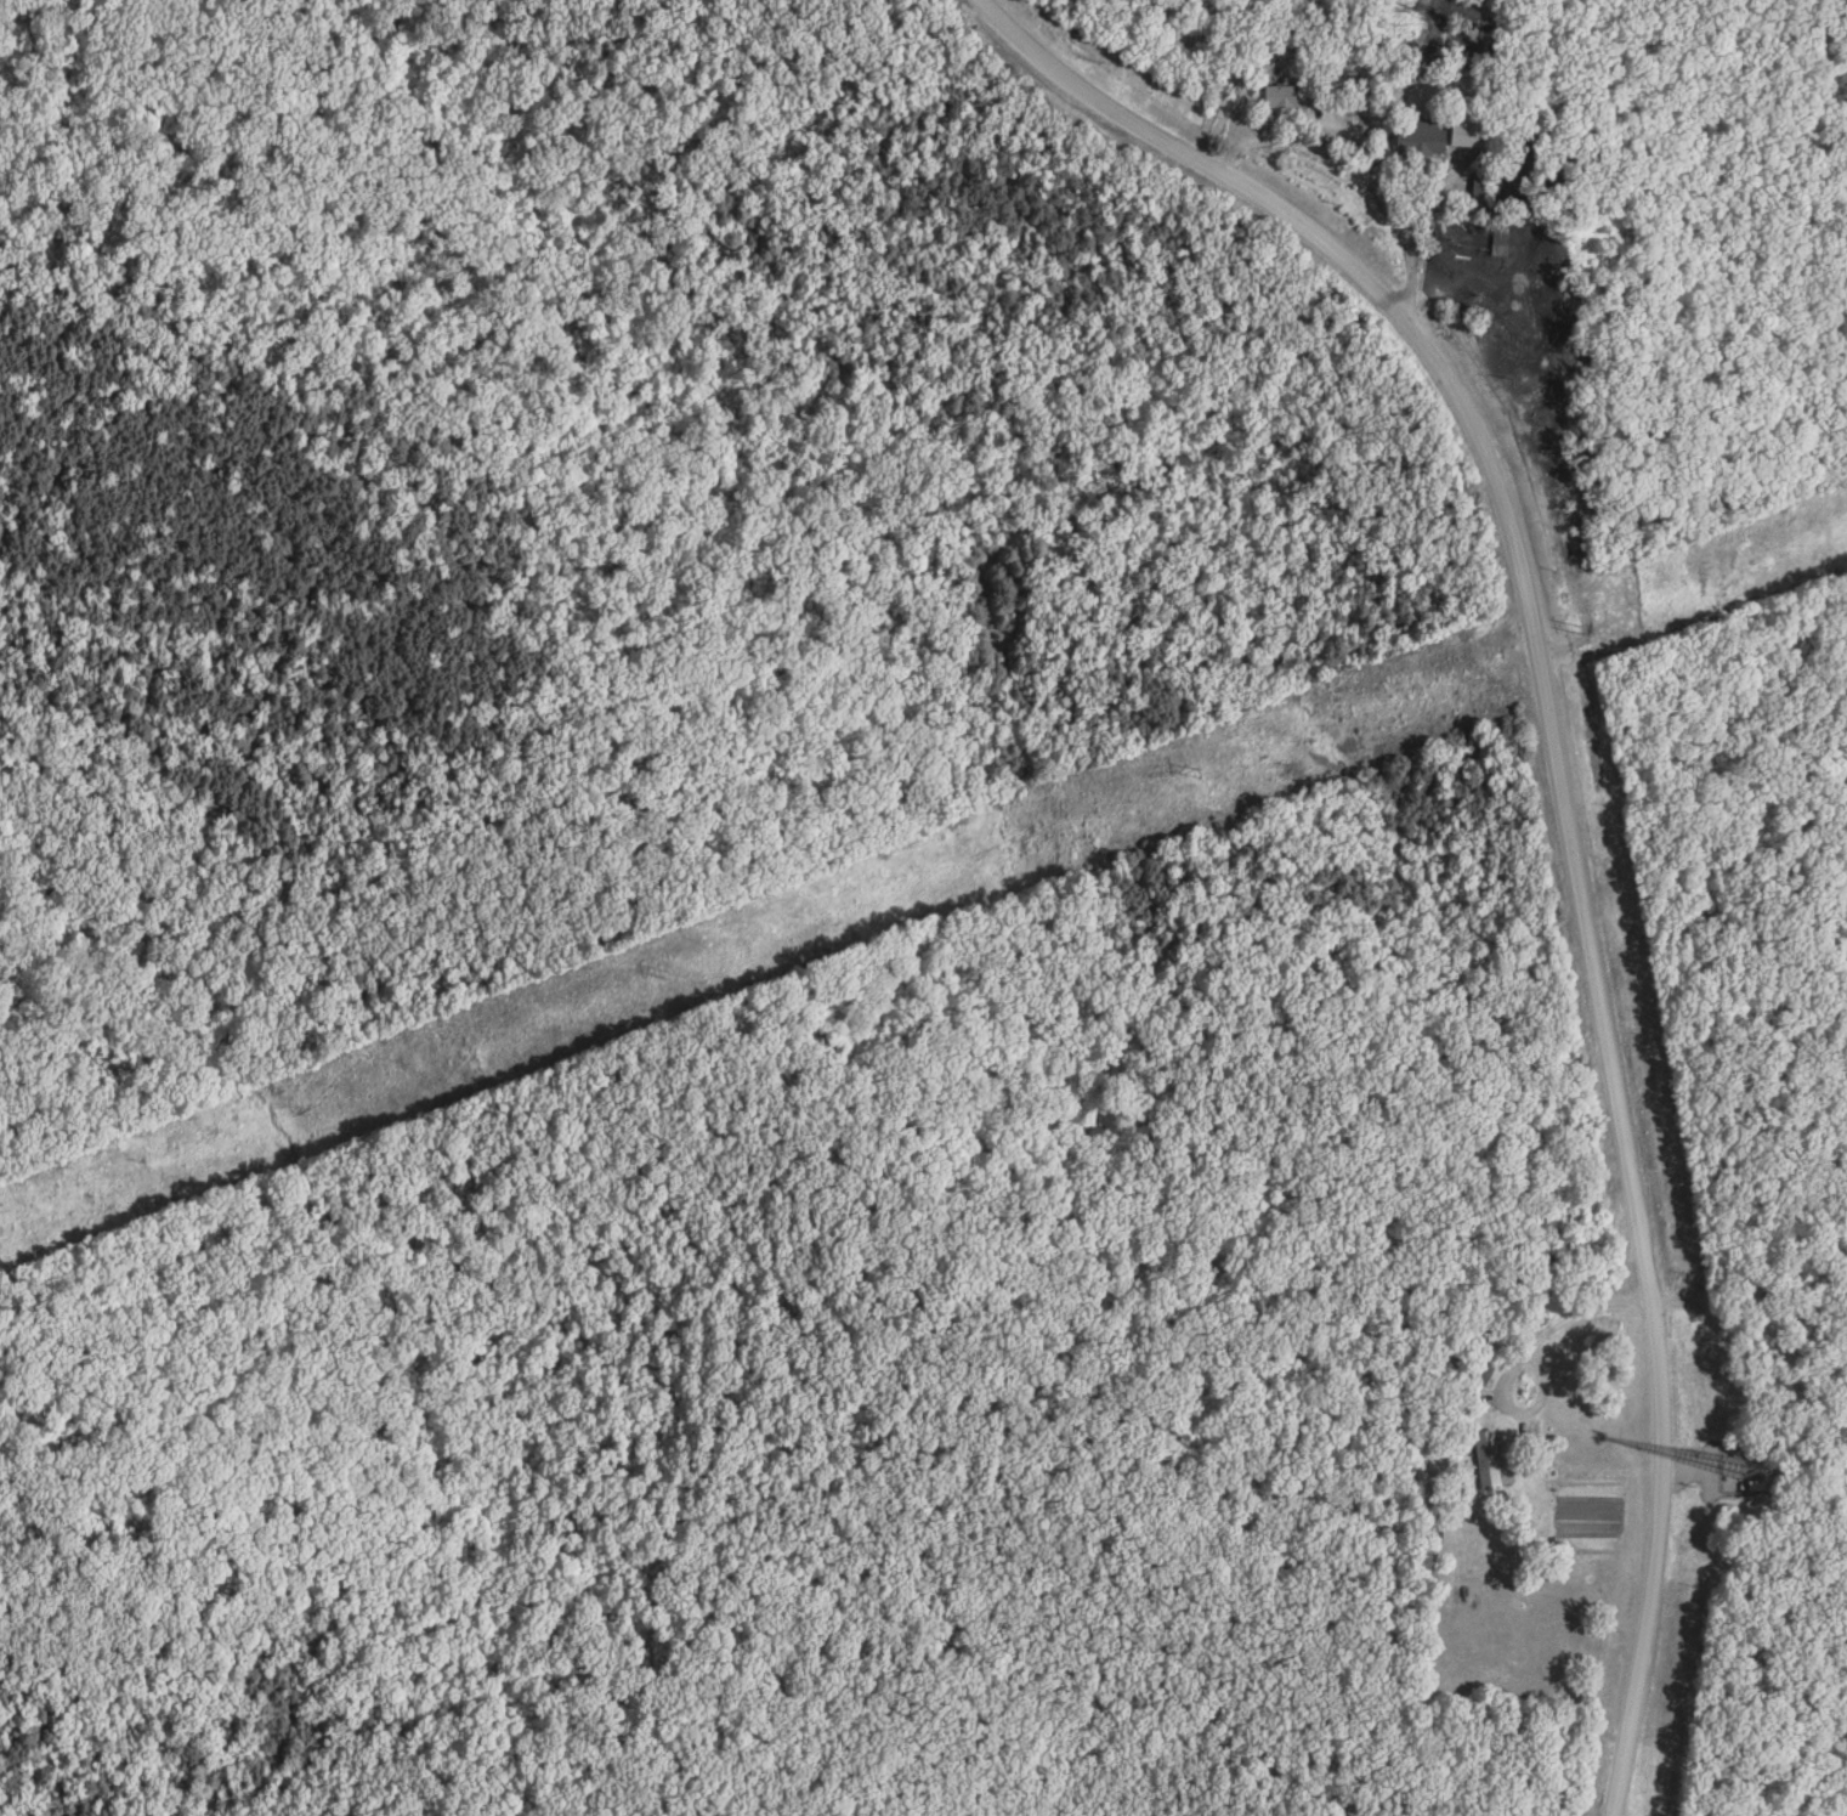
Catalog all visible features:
building: (1291, 96)
building: (1426, 138)
road: (1375, 160)
power tower: (1569, 626)
power tower: (1177, 770)
road: (1564, 792)
power tower: (655, 972)
road: (1592, 1317)
building: (1478, 1369)
road: (1505, 1381)
building: (1490, 1458)

